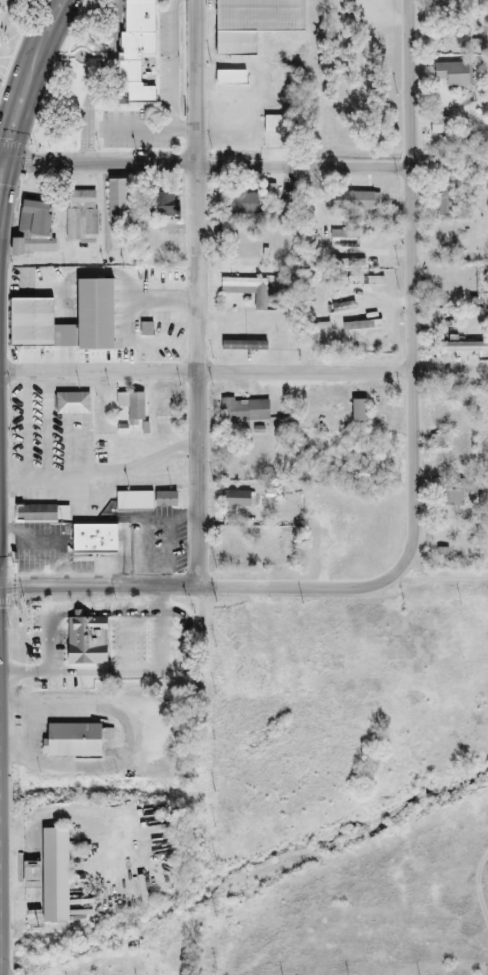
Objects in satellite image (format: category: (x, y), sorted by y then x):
building: (252, 24)
building: (453, 47)
building: (133, 52)
road: (172, 64)
building: (452, 75)
road: (26, 79)
building: (230, 79)
road: (408, 82)
building: (271, 126)
building: (439, 127)
road: (148, 129)
road: (1, 163)
traffic signals: (2, 163)
road: (205, 164)
road: (1, 167)
building: (269, 193)
building: (118, 200)
building: (445, 201)
building: (357, 202)
building: (240, 203)
building: (158, 205)
building: (83, 216)
building: (34, 228)
building: (345, 239)
building: (350, 264)
road: (195, 292)
building: (247, 292)
building: (311, 299)
building: (29, 314)
building: (360, 326)
building: (291, 340)
building: (165, 343)
building: (240, 347)
building: (465, 349)
road: (205, 374)
road: (411, 374)
building: (70, 404)
building: (134, 410)
building: (243, 411)
building: (358, 412)
road: (26, 429)
building: (437, 443)
road: (100, 473)
building: (453, 498)
building: (235, 500)
building: (144, 501)
building: (40, 514)
building: (93, 540)
road: (427, 580)
road: (197, 585)
road: (162, 598)
road: (181, 616)
building: (84, 642)
road: (25, 674)
road: (26, 733)
road: (130, 739)
building: (71, 742)
building: (28, 875)
building: (52, 875)

